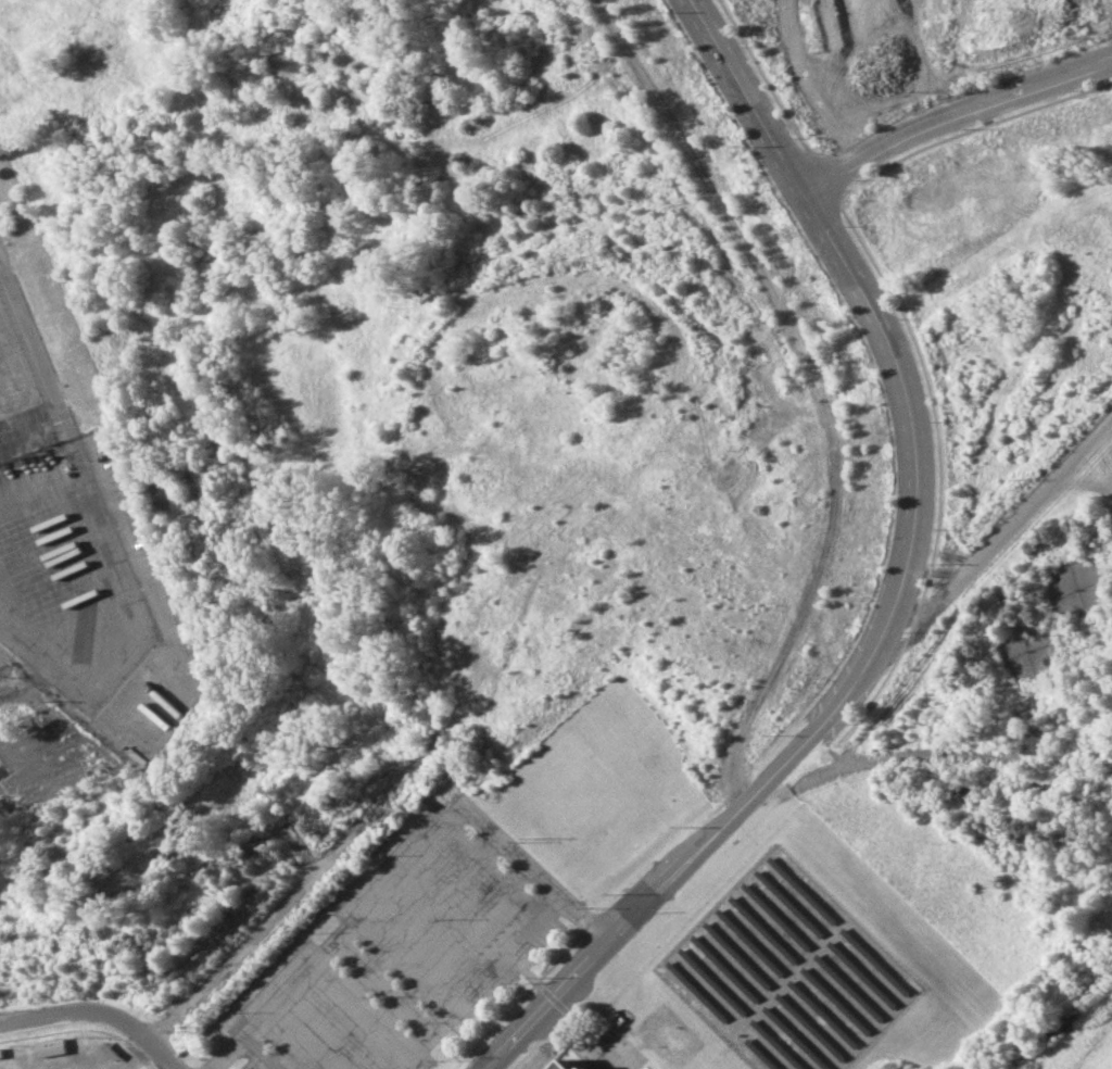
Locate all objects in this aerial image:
road: (746, 93)
road: (953, 114)
road: (29, 342)
road: (850, 683)
road: (921, 760)
road: (402, 865)
road: (382, 951)
parking lot: (405, 952)
road: (430, 967)
road: (475, 981)
road: (382, 983)
road: (96, 1011)
building: (48, 1047)
road: (255, 1052)
building: (565, 1065)
building: (585, 1067)

